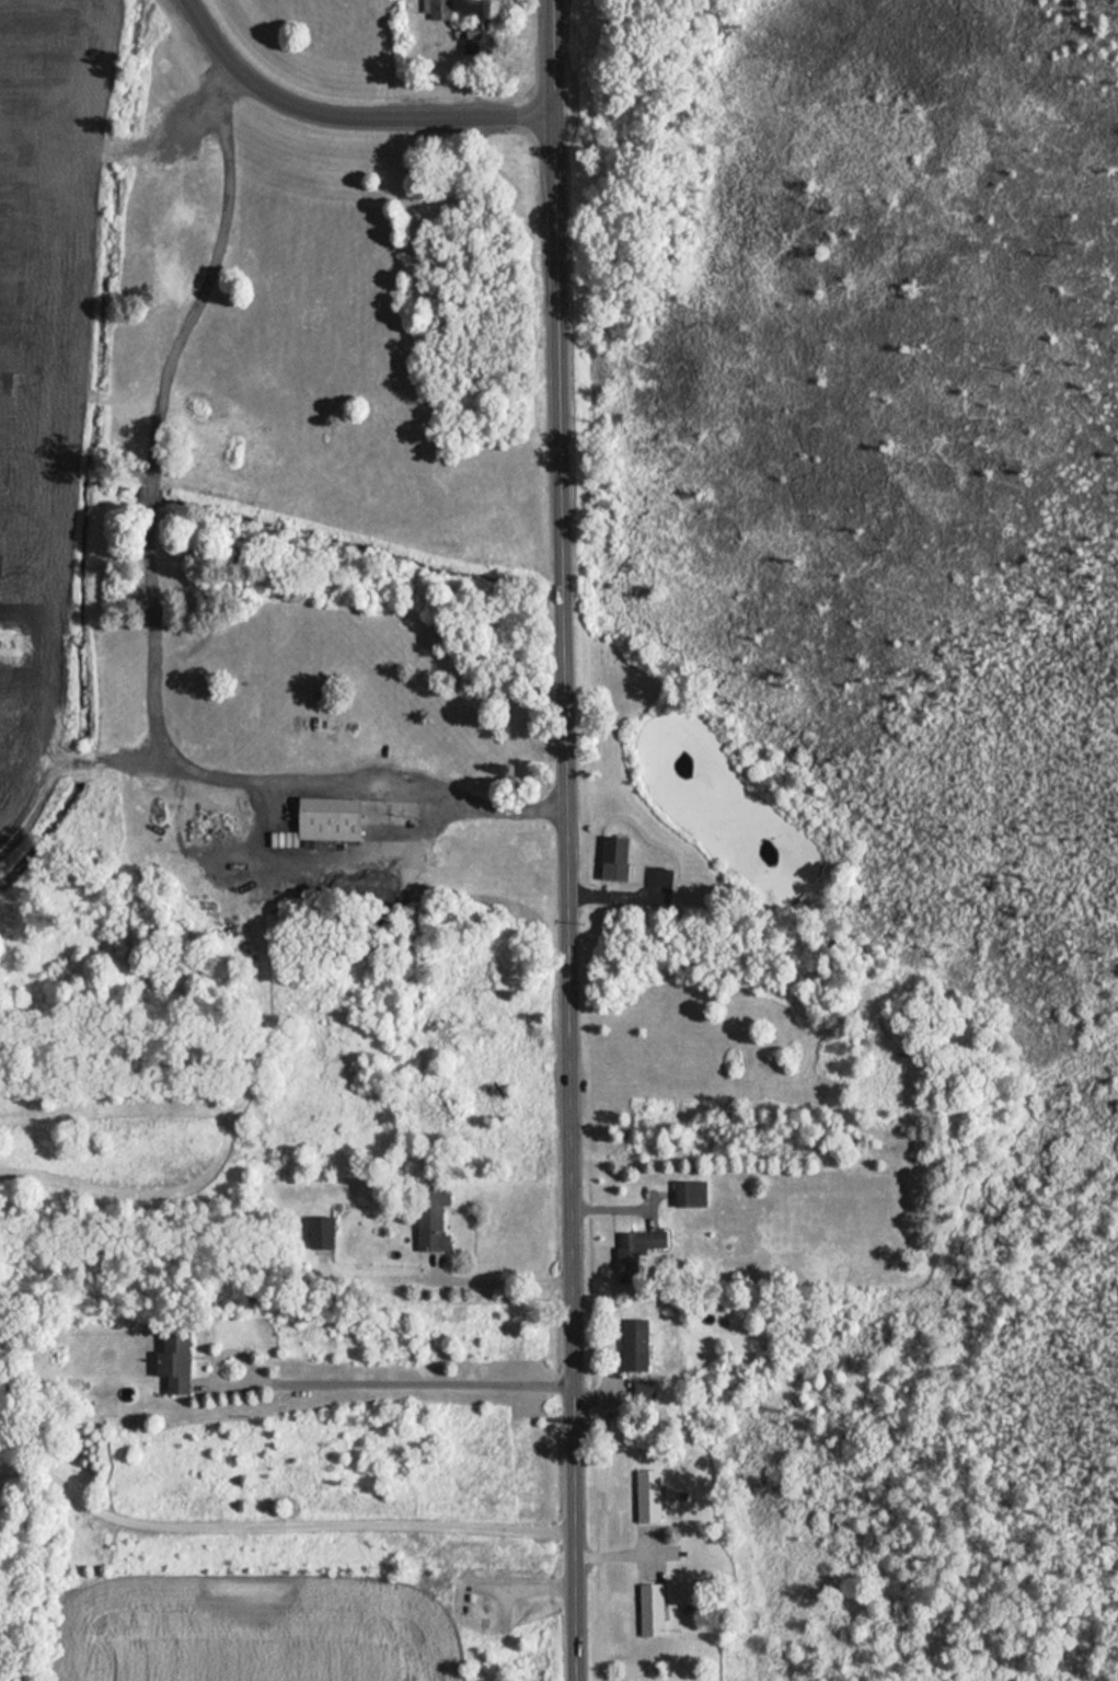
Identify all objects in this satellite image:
building: (440, 9)
building: (477, 35)
road: (345, 115)
road: (159, 405)
road: (322, 781)
road: (528, 808)
building: (332, 819)
road: (567, 840)
building: (618, 859)
building: (692, 1194)
building: (434, 1220)
building: (323, 1234)
building: (638, 1251)
road: (503, 1283)
building: (636, 1346)
building: (176, 1361)
road: (400, 1385)
building: (649, 1495)
road: (277, 1525)
road: (614, 1553)
building: (653, 1608)

